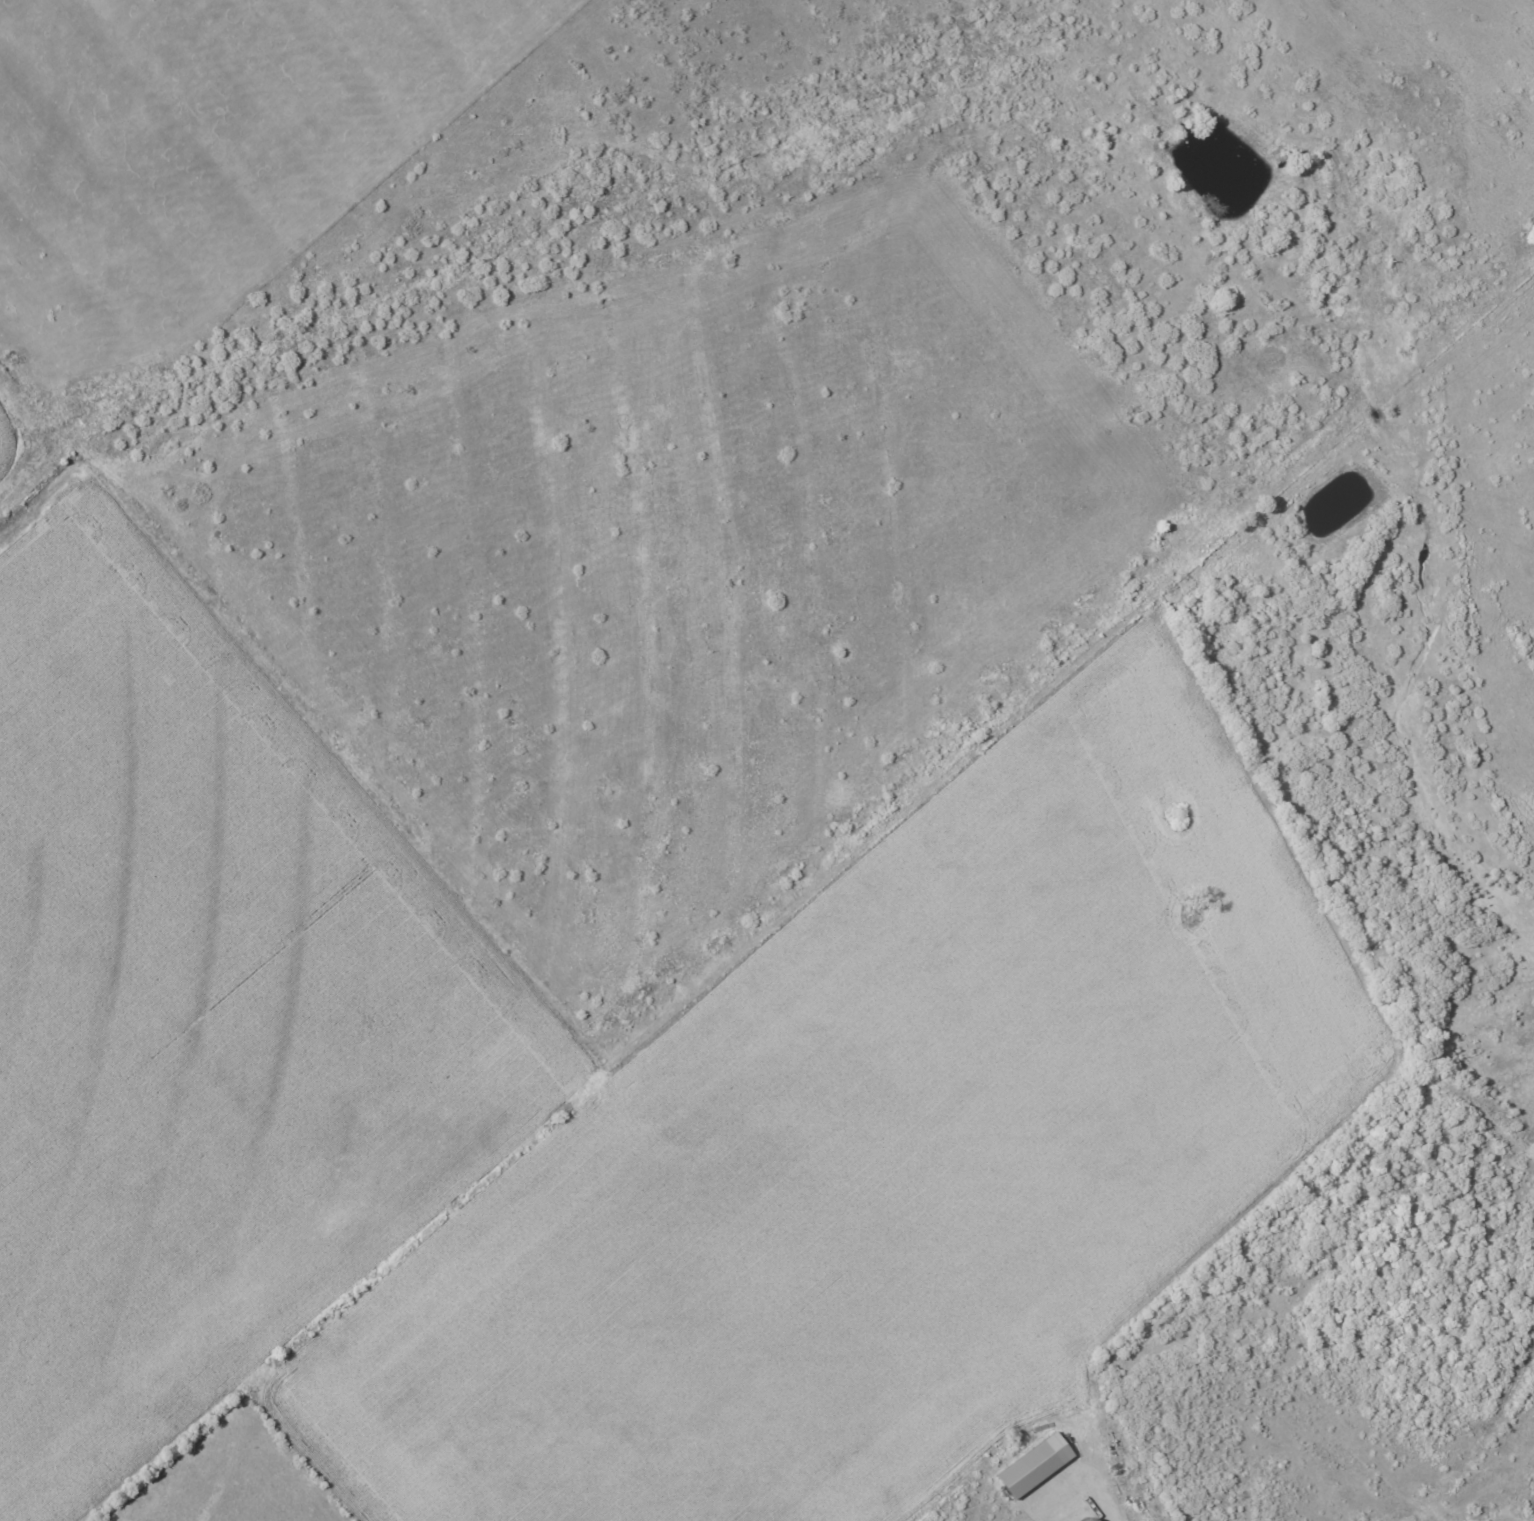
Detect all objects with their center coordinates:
building: (1035, 1464)
road: (1109, 1512)

